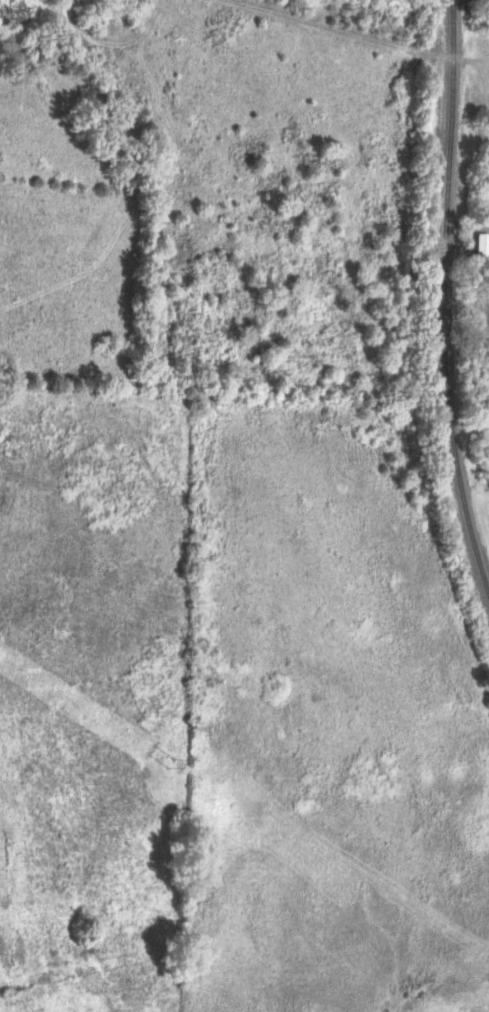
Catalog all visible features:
building: (10, 17)
building: (478, 243)
railway: (442, 301)

